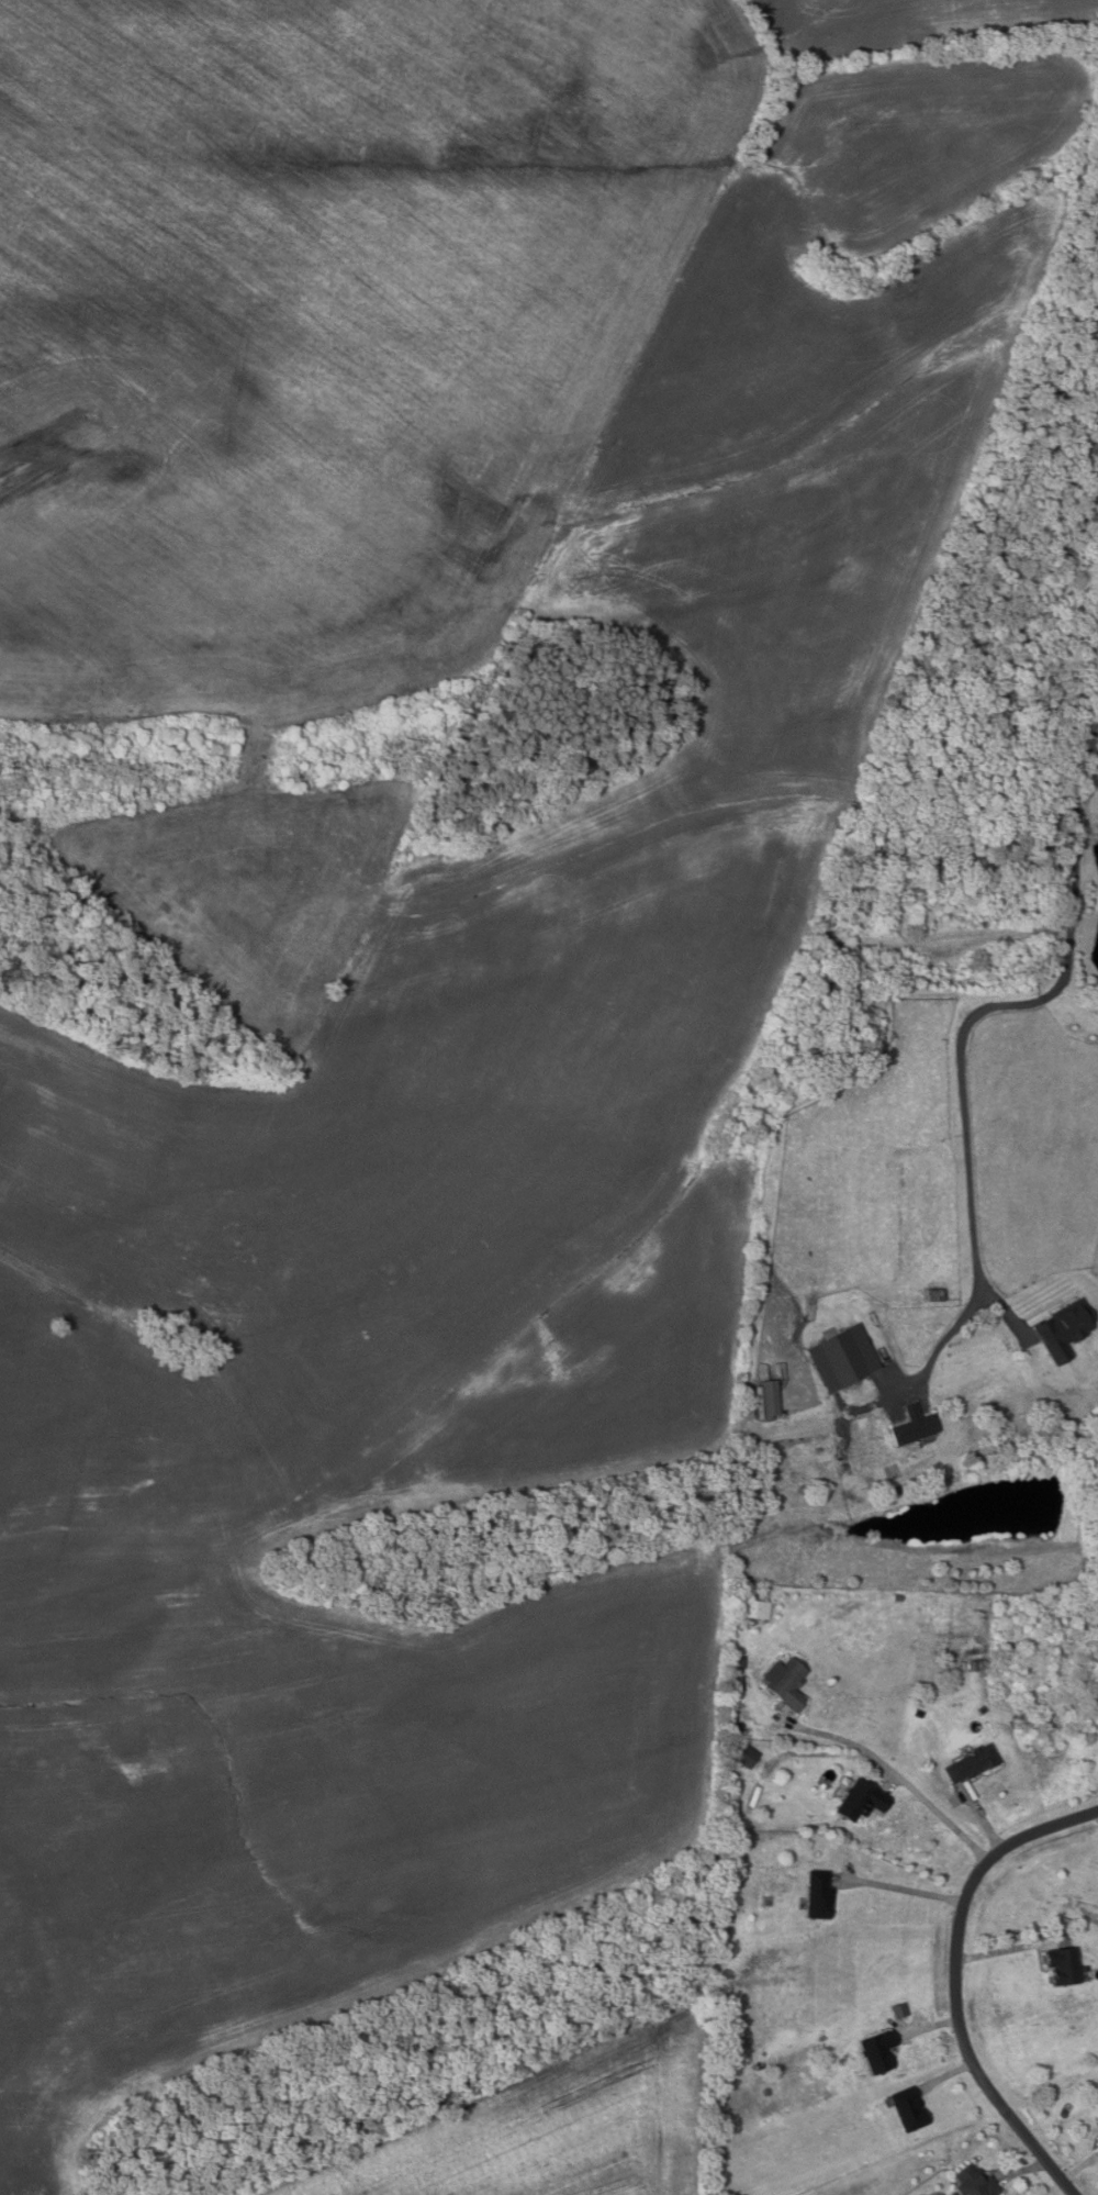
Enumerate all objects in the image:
crop: (903, 22)
crop: (416, 927)
road: (1030, 1002)
road: (37, 1255)
building: (934, 1294)
road: (1002, 1305)
road: (953, 1328)
building: (1061, 1328)
building: (841, 1358)
building: (770, 1400)
building: (915, 1425)
building: (755, 1608)
building: (739, 1661)
building: (976, 1664)
building: (739, 1682)
building: (785, 1682)
building: (981, 1708)
building: (736, 1727)
building: (747, 1757)
building: (970, 1763)
road: (901, 1770)
building: (861, 1801)
road: (984, 1819)
road: (904, 1886)
building: (818, 1894)
road: (1011, 1947)
building: (1064, 1965)
road: (956, 1983)
building: (894, 2009)
road: (928, 2027)
building: (878, 2051)
building: (718, 2064)
road: (945, 2075)
building: (908, 2109)
building: (1096, 2114)
crop: (547, 2129)
road: (1080, 2168)
road: (1024, 2170)
building: (974, 2182)

